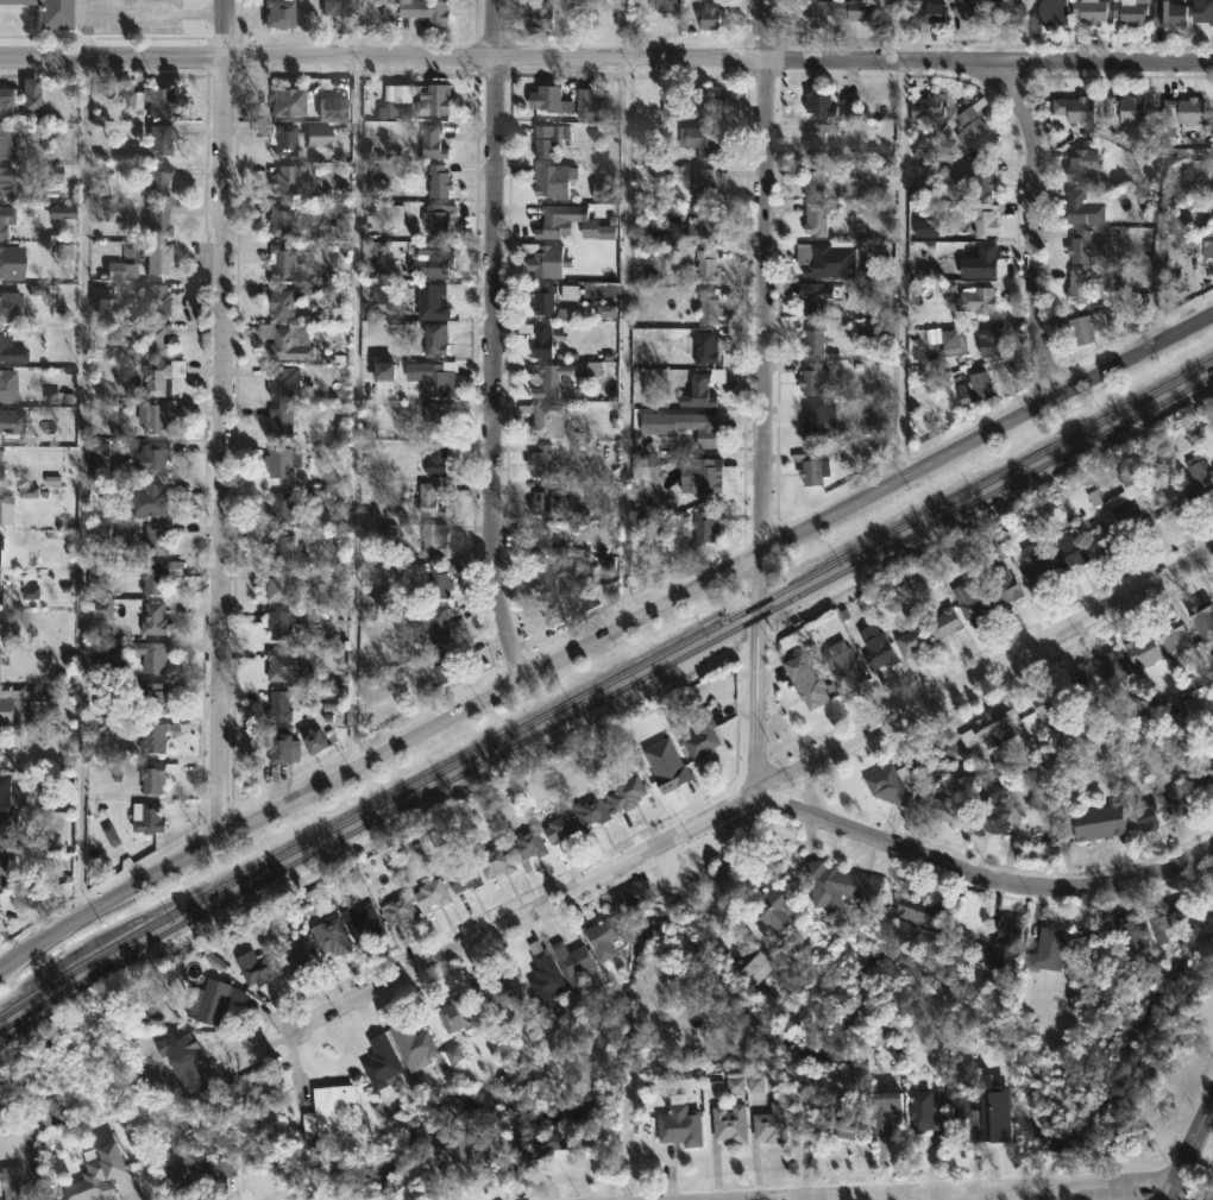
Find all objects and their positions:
building: (666, 8)
road: (157, 10)
building: (969, 10)
building: (1088, 11)
building: (1201, 11)
building: (46, 12)
building: (423, 12)
building: (840, 12)
building: (1006, 12)
building: (1129, 12)
building: (276, 13)
building: (926, 13)
building: (1168, 13)
building: (540, 15)
building: (708, 15)
building: (1045, 15)
road: (605, 62)
building: (127, 96)
building: (435, 99)
building: (549, 99)
building: (21, 100)
building: (155, 102)
building: (706, 102)
building: (818, 102)
building: (283, 103)
building: (583, 103)
building: (396, 105)
building: (331, 108)
building: (672, 108)
building: (925, 108)
building: (1124, 109)
building: (1071, 111)
building: (1181, 112)
building: (970, 125)
building: (315, 134)
building: (276, 137)
building: (547, 138)
building: (156, 140)
building: (702, 140)
building: (430, 142)
building: (813, 143)
building: (5, 144)
building: (1080, 168)
building: (871, 172)
building: (54, 176)
building: (978, 178)
building: (155, 180)
building: (281, 181)
building: (435, 181)
building: (552, 181)
building: (811, 181)
building: (5, 183)
building: (702, 186)
building: (603, 190)
building: (1083, 207)
building: (119, 214)
road: (1033, 218)
building: (5, 219)
building: (435, 219)
building: (815, 219)
building: (982, 219)
building: (554, 220)
building: (153, 221)
building: (279, 221)
building: (703, 226)
road: (903, 240)
building: (1207, 246)
building: (1083, 247)
building: (153, 257)
building: (824, 258)
building: (543, 259)
building: (279, 260)
building: (430, 260)
building: (979, 262)
building: (10, 263)
building: (704, 266)
building: (117, 271)
building: (1081, 284)
building: (379, 291)
building: (811, 297)
building: (152, 299)
building: (287, 301)
building: (432, 301)
building: (542, 301)
building: (974, 301)
building: (8, 307)
building: (706, 308)
building: (109, 309)
road: (626, 312)
building: (1080, 331)
building: (435, 339)
building: (813, 339)
building: (155, 340)
building: (284, 341)
building: (540, 341)
road: (489, 343)
building: (937, 343)
building: (986, 343)
road: (203, 345)
building: (704, 348)
building: (10, 351)
road: (471, 370)
building: (388, 372)
building: (0, 373)
building: (158, 376)
building: (432, 376)
building: (547, 379)
building: (810, 379)
road: (356, 383)
building: (282, 384)
building: (974, 388)
building: (698, 390)
road: (233, 395)
road: (760, 396)
building: (433, 416)
building: (150, 417)
building: (543, 419)
building: (817, 419)
road: (219, 421)
building: (278, 422)
building: (14, 423)
building: (703, 431)
building: (1161, 450)
building: (2, 454)
building: (143, 459)
building: (434, 459)
road: (83, 460)
building: (281, 460)
building: (538, 460)
building: (810, 467)
building: (1212, 467)
building: (0, 472)
building: (699, 477)
building: (1196, 479)
building: (427, 500)
building: (545, 500)
building: (146, 501)
building: (282, 507)
building: (6, 508)
building: (1125, 515)
building: (705, 528)
building: (1098, 535)
building: (153, 538)
building: (430, 539)
building: (540, 539)
building: (0, 541)
building: (277, 545)
building: (1068, 551)
building: (1035, 566)
building: (151, 578)
building: (542, 578)
building: (436, 580)
building: (1000, 583)
building: (276, 585)
building: (1, 589)
building: (972, 598)
building: (98, 609)
building: (549, 612)
building: (151, 618)
building: (1201, 620)
building: (943, 622)
building: (276, 623)
building: (440, 623)
building: (0, 630)
road: (602, 637)
building: (1173, 637)
building: (910, 642)
building: (875, 647)
building: (1142, 651)
building: (151, 656)
building: (279, 664)
building: (843, 664)
building: (1111, 667)
building: (1, 670)
building: (442, 670)
building: (805, 681)
building: (1079, 683)
railway: (603, 685)
building: (149, 697)
railway: (603, 698)
building: (1048, 699)
building: (10, 705)
building: (275, 705)
building: (993, 728)
building: (153, 736)
building: (699, 736)
building: (318, 743)
building: (279, 748)
building: (1211, 749)
building: (937, 754)
building: (1, 755)
building: (664, 766)
building: (1199, 773)
building: (150, 777)
building: (886, 783)
building: (6, 790)
building: (624, 792)
road: (754, 793)
building: (1179, 800)
building: (936, 806)
building: (987, 810)
building: (590, 812)
building: (1145, 816)
building: (146, 818)
building: (1098, 821)
building: (558, 829)
road: (730, 846)
building: (526, 848)
building: (492, 861)
building: (1, 865)
road: (980, 877)
building: (460, 878)
building: (838, 887)
building: (429, 894)
building: (630, 896)
building: (396, 910)
building: (917, 912)
building: (771, 913)
building: (1165, 918)
building: (360, 922)
building: (328, 937)
building: (1131, 937)
building: (599, 938)
building: (1004, 947)
building: (1048, 948)
building: (1087, 949)
building: (296, 955)
building: (570, 963)
building: (753, 963)
building: (253, 969)
building: (542, 978)
building: (1112, 980)
building: (496, 992)
building: (212, 1000)
building: (453, 1013)
building: (410, 1045)
building: (181, 1058)
building: (377, 1062)
building: (320, 1107)
building: (882, 1111)
building: (922, 1113)
building: (962, 1113)
building: (45, 1117)
building: (841, 1120)
building: (678, 1124)
building: (728, 1124)
building: (769, 1124)
building: (533, 1143)
building: (452, 1145)
road: (1193, 1146)
building: (194, 1169)
building: (93, 1174)
building: (10, 1183)
building: (142, 1183)
road: (1070, 1187)
road: (1163, 1192)
road: (1170, 1192)
road: (885, 1195)
road: (968, 1195)
road: (972, 1195)
park: (1118, 1199)

